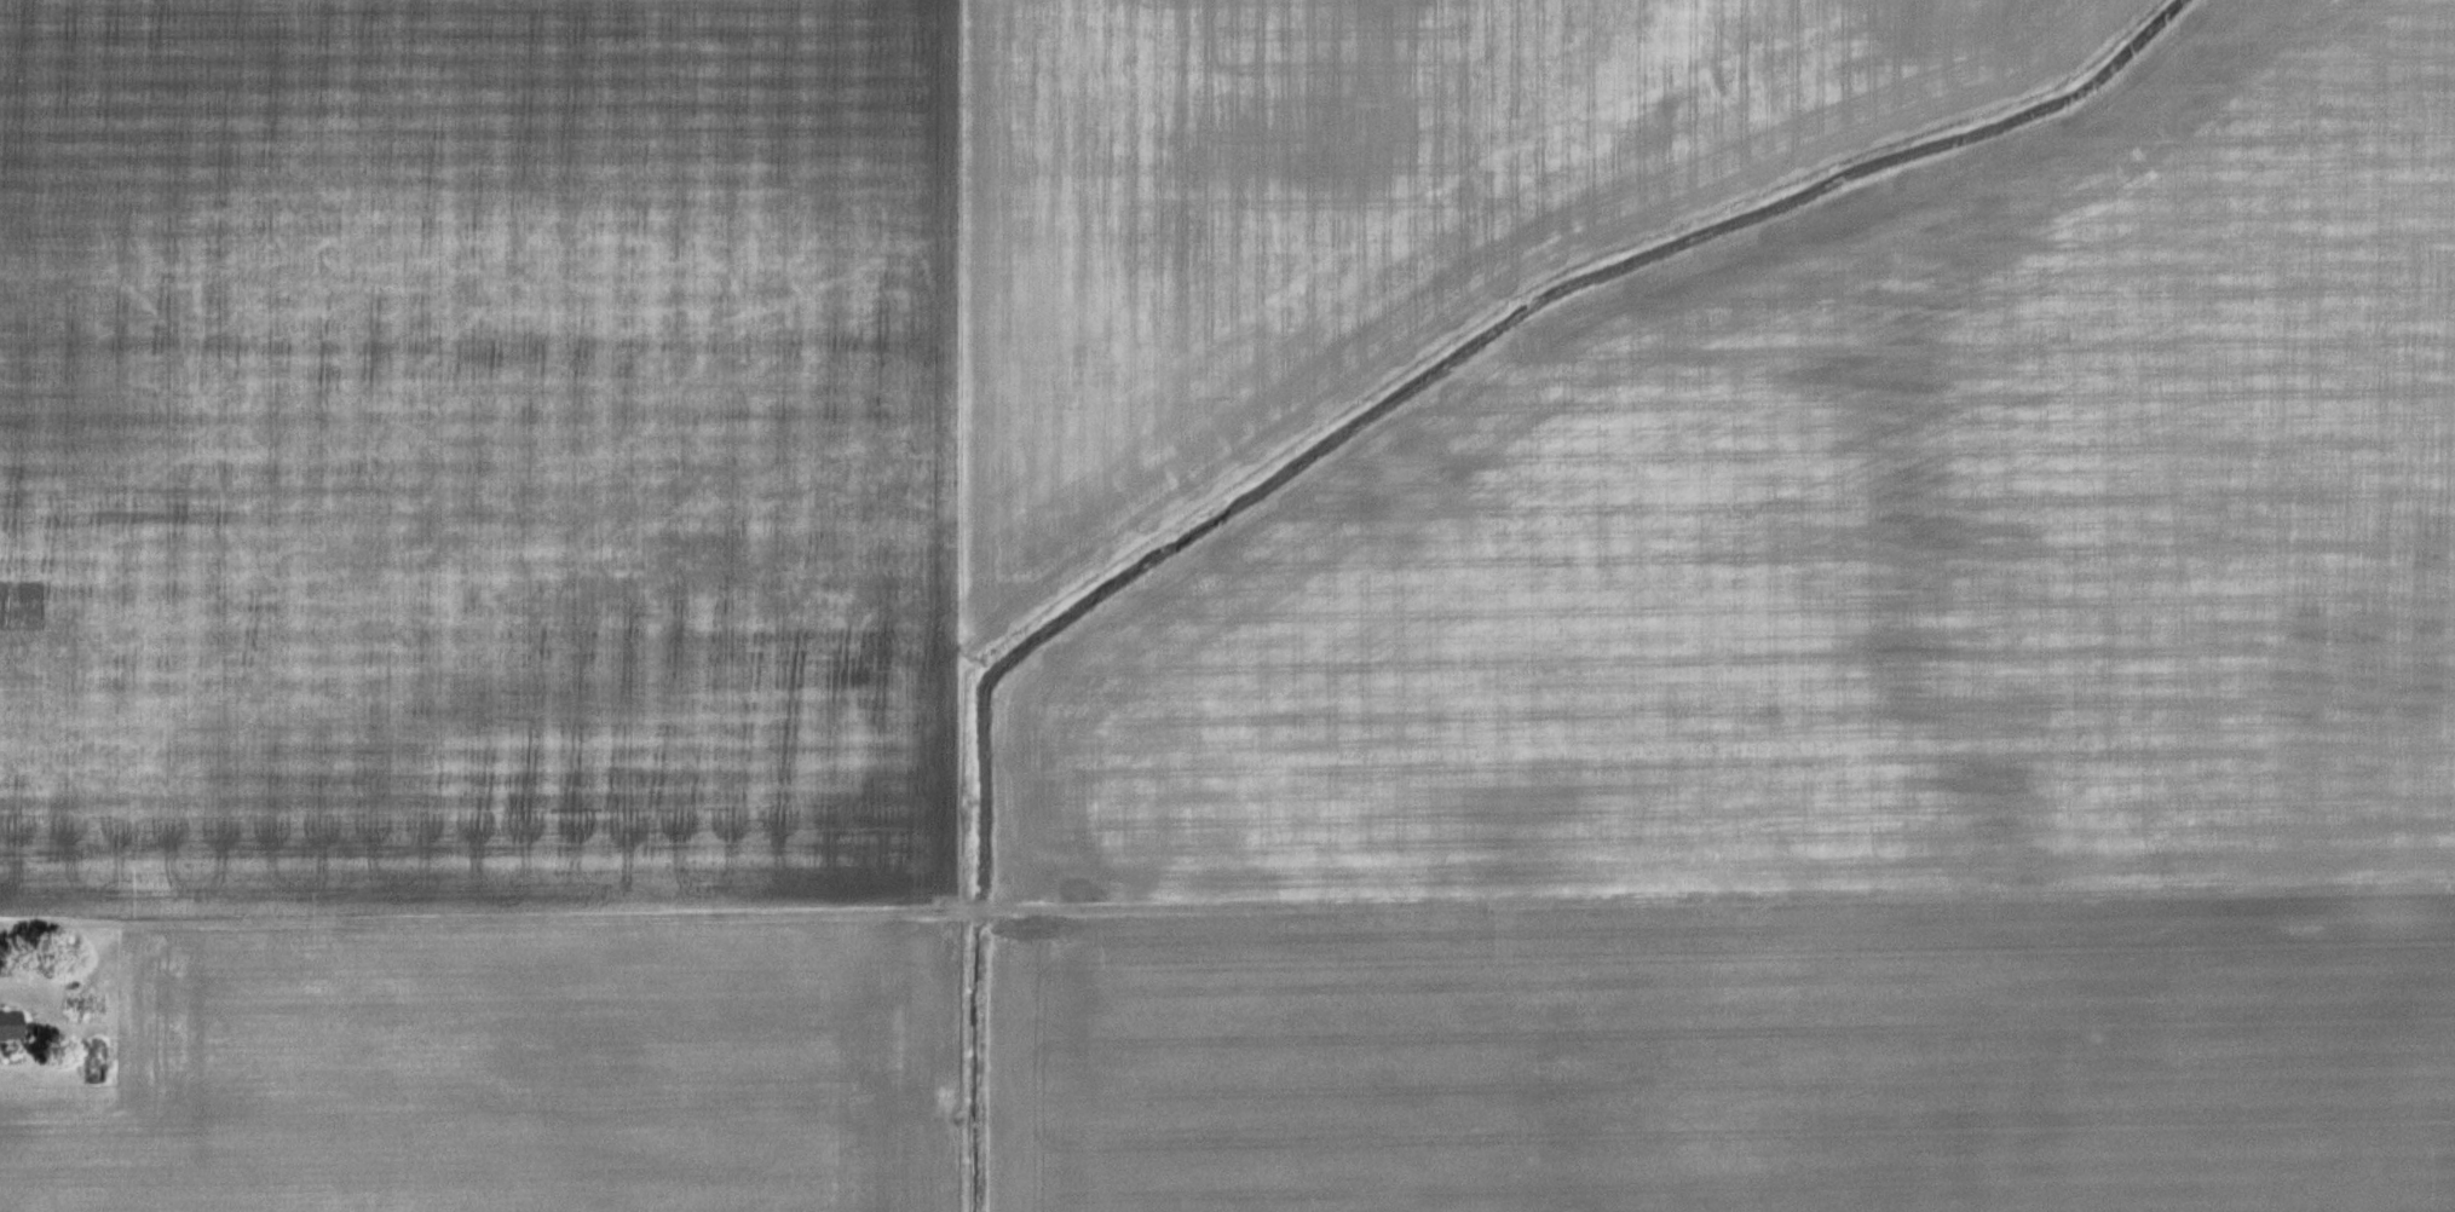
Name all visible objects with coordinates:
building: (11, 1023)

